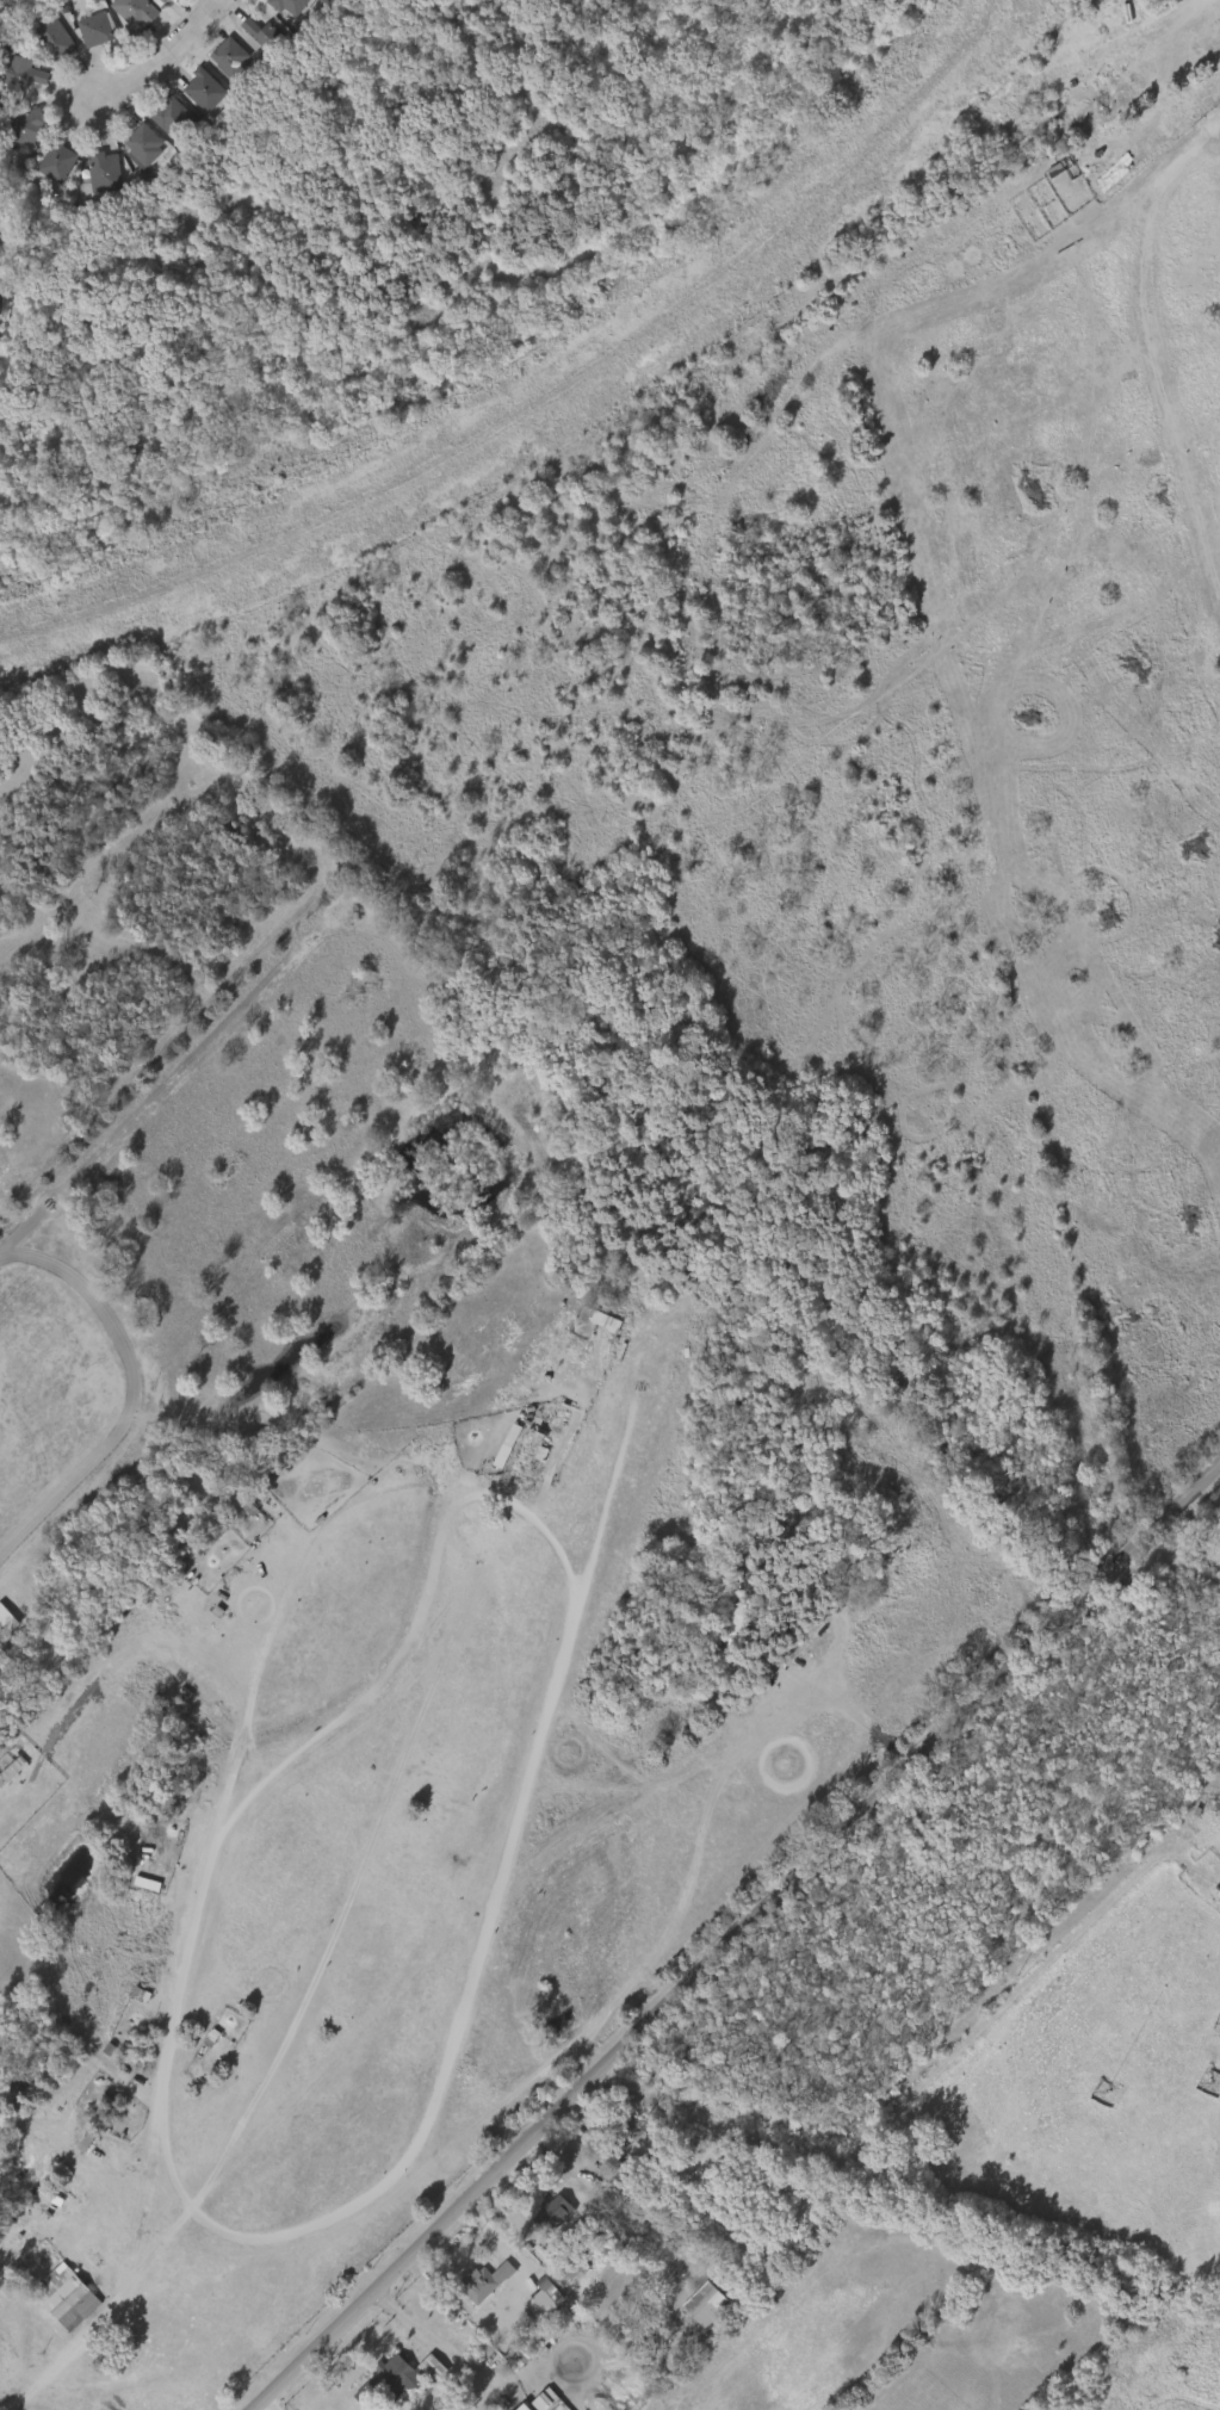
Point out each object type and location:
building: (163, 1)
building: (290, 5)
building: (135, 11)
building: (97, 29)
building: (267, 35)
building: (54, 37)
building: (252, 39)
road: (162, 56)
building: (233, 57)
building: (26, 73)
building: (204, 89)
building: (178, 119)
building: (162, 123)
building: (27, 126)
building: (147, 143)
building: (60, 160)
building: (47, 167)
building: (107, 171)
building: (94, 176)
building: (1, 253)
building: (1, 301)
road: (142, 1394)
road: (568, 1631)
building: (1215, 1898)
road: (736, 1938)
building: (628, 2133)
building: (553, 2214)
building: (574, 2260)
building: (487, 2279)
road: (122, 2294)
building: (68, 2297)
building: (694, 2307)
road: (438, 2348)
building: (394, 2378)
building: (528, 2406)
building: (547, 2406)
building: (512, 2409)

